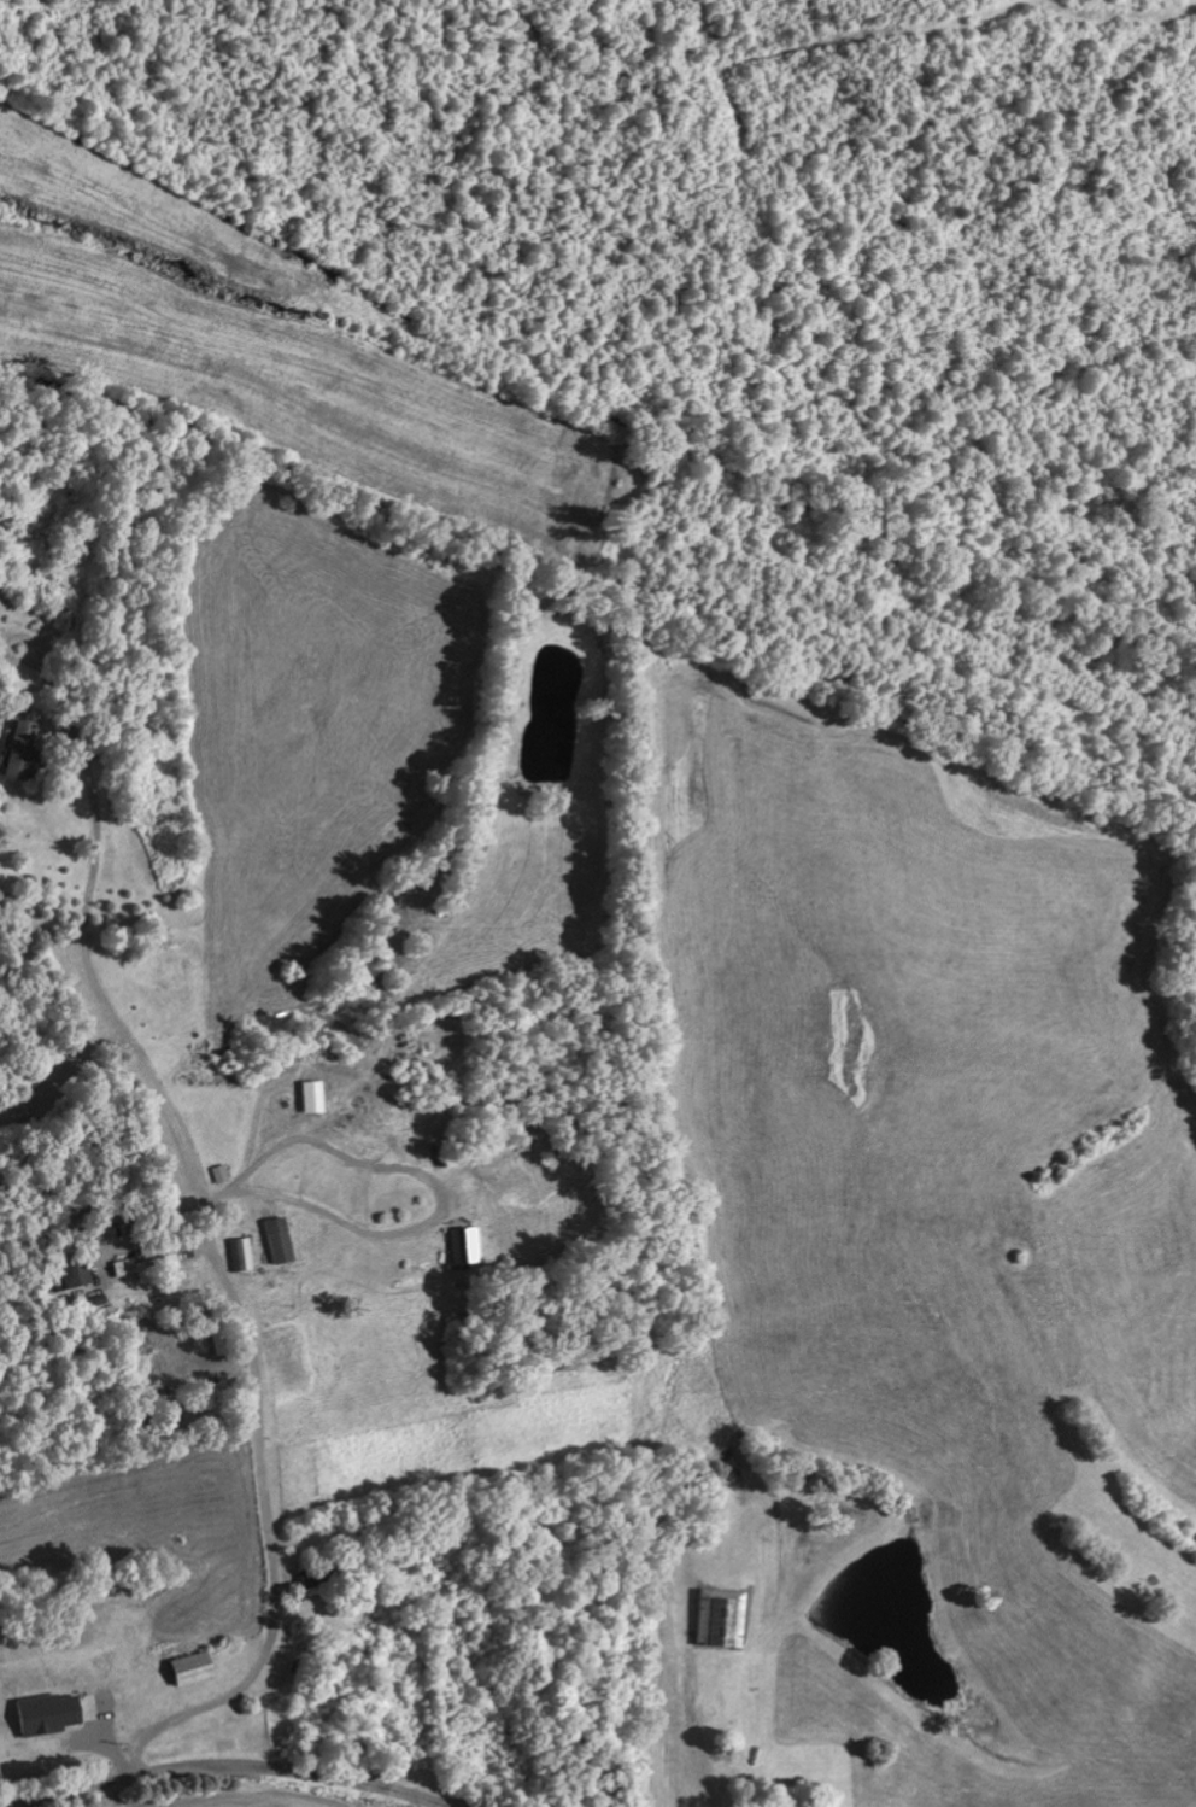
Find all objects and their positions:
building: (18, 752)
building: (310, 1095)
building: (276, 1239)
building: (464, 1244)
building: (240, 1253)
building: (66, 1274)
building: (719, 1616)
building: (189, 1667)
road: (223, 1764)

